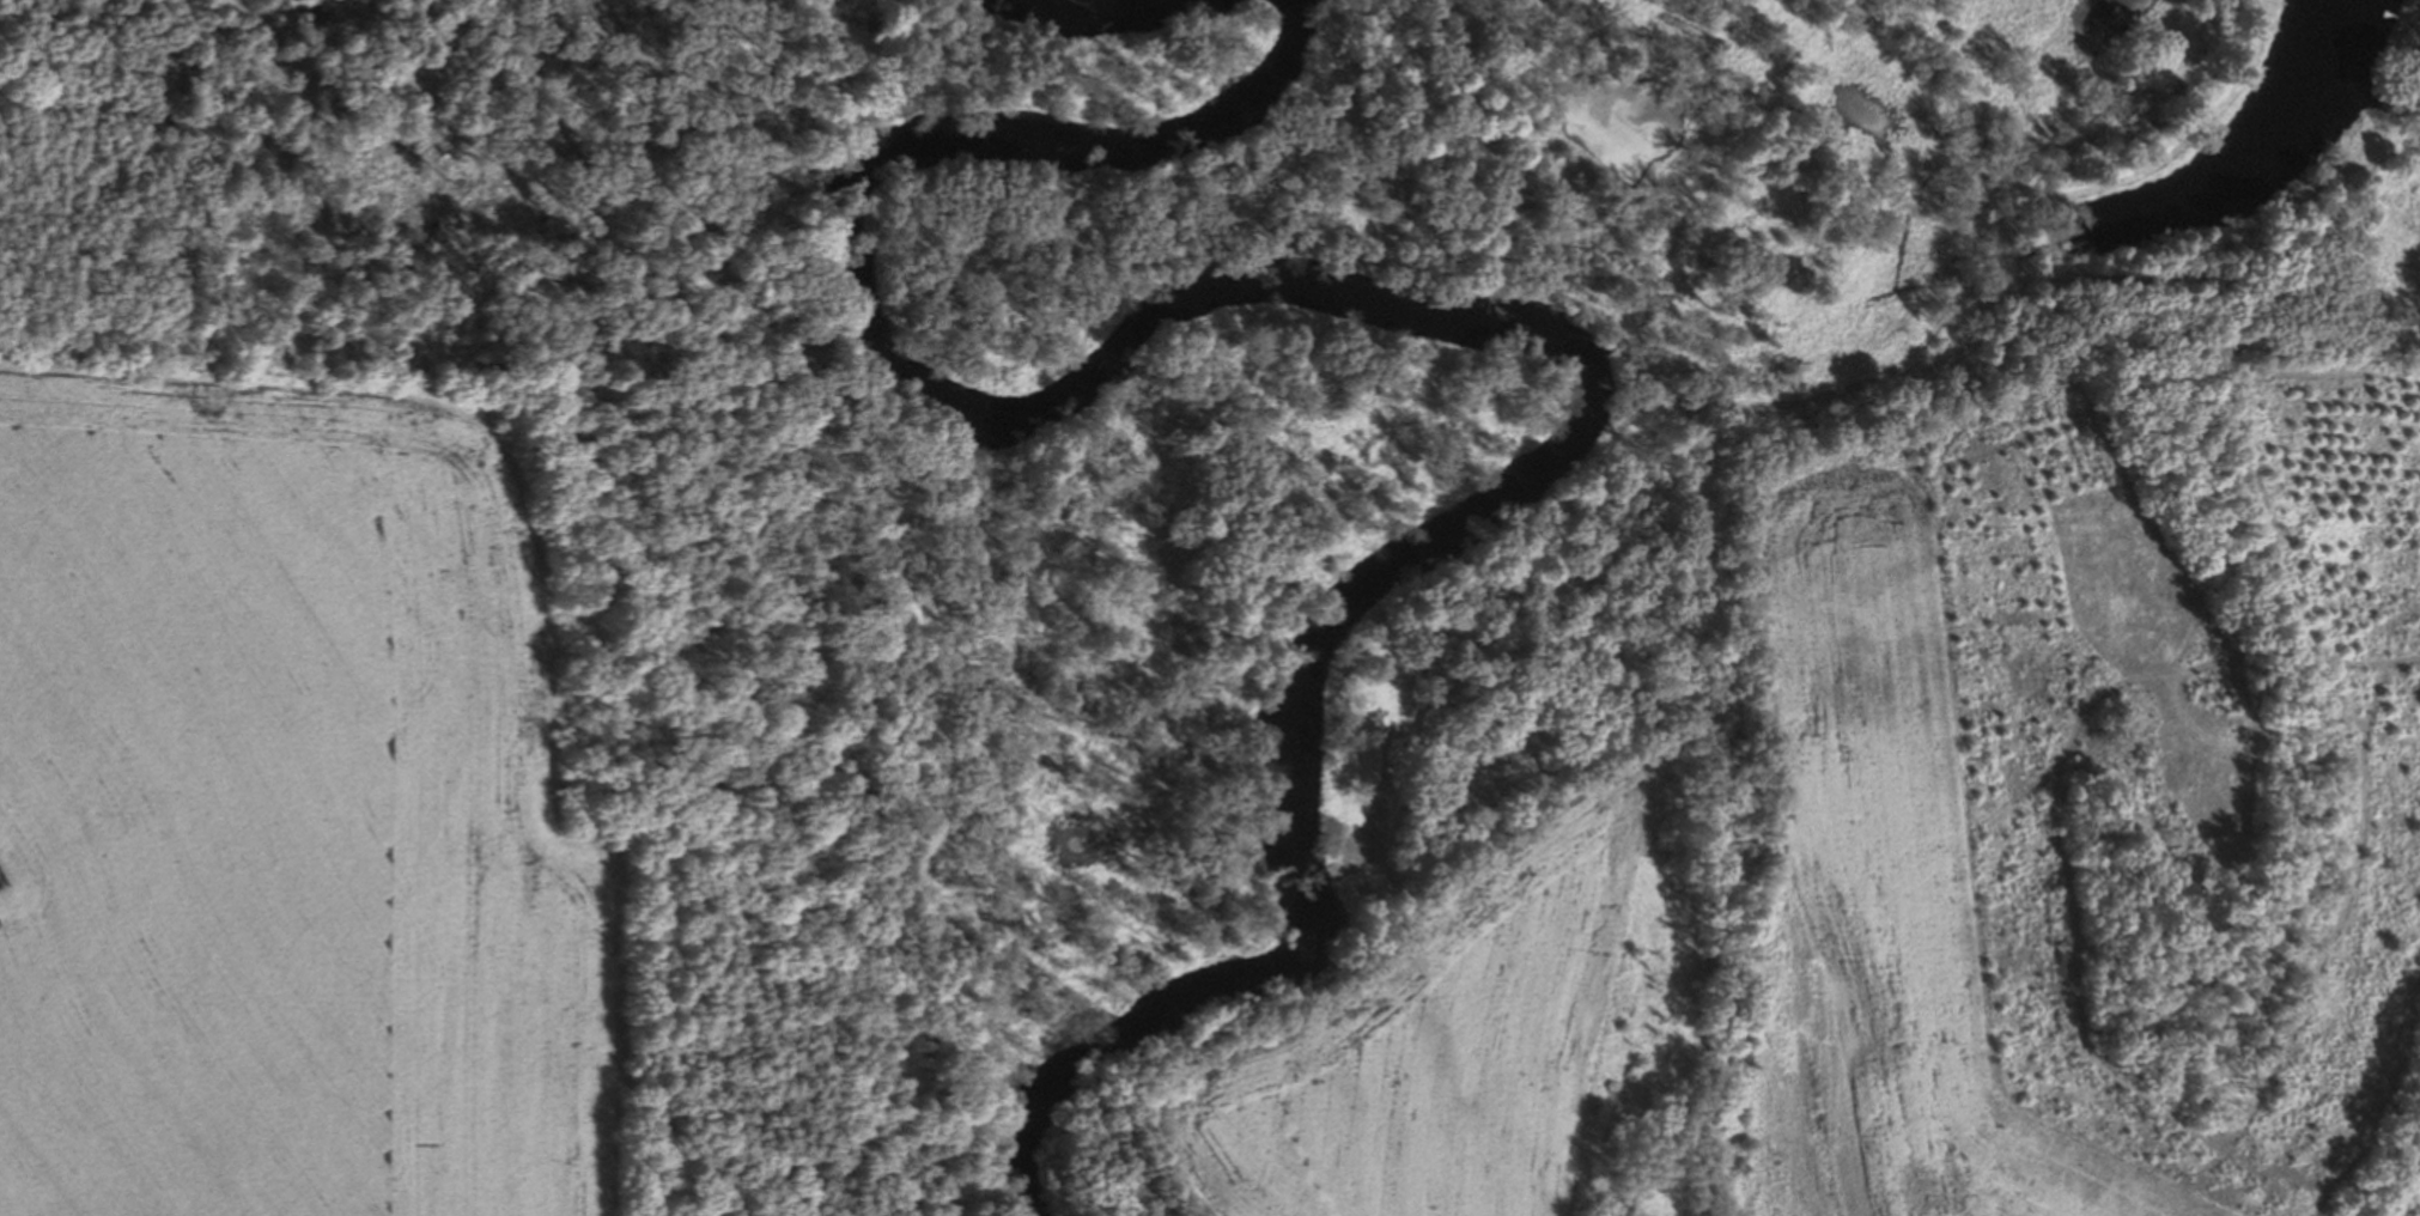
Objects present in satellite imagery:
river: (1269, 327)

